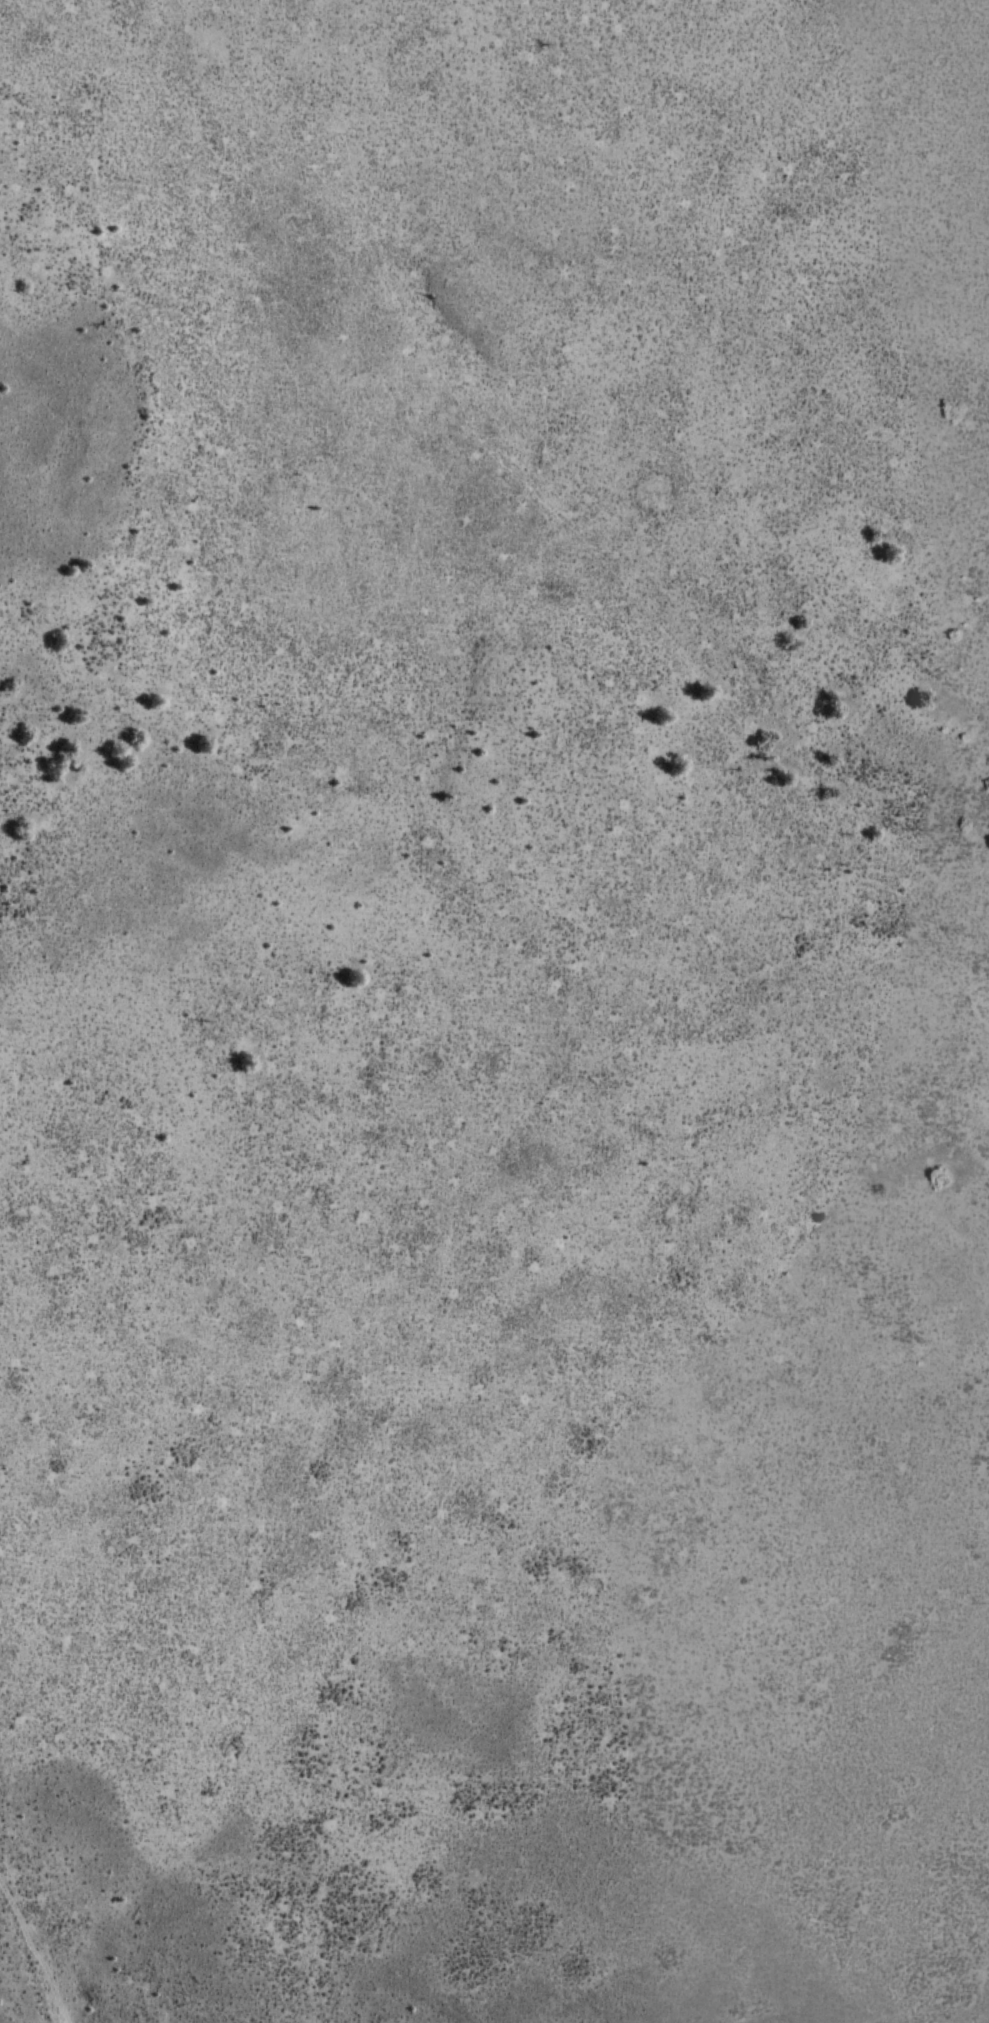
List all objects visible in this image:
road: (52, 1931)

